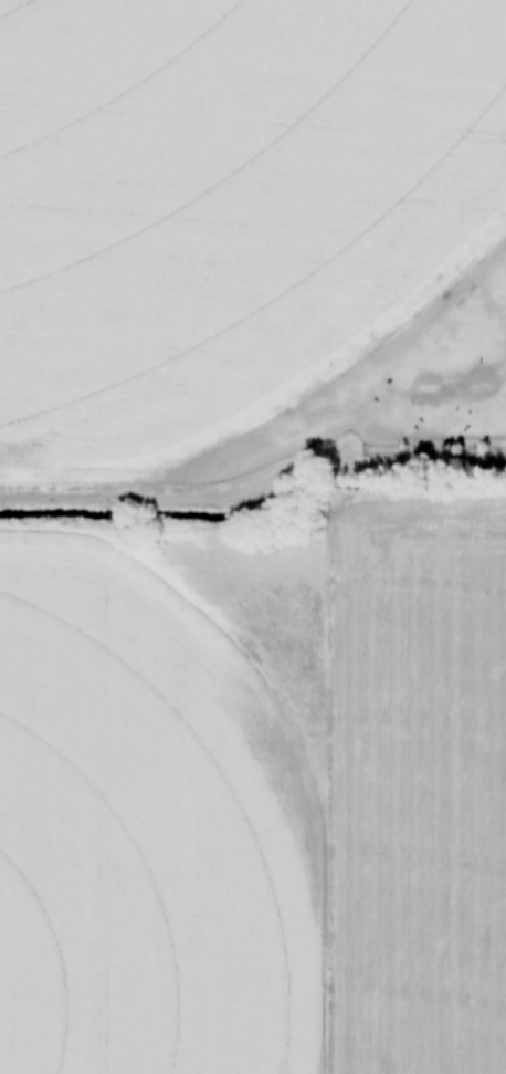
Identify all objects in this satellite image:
crop: (225, 207)
road: (254, 489)

